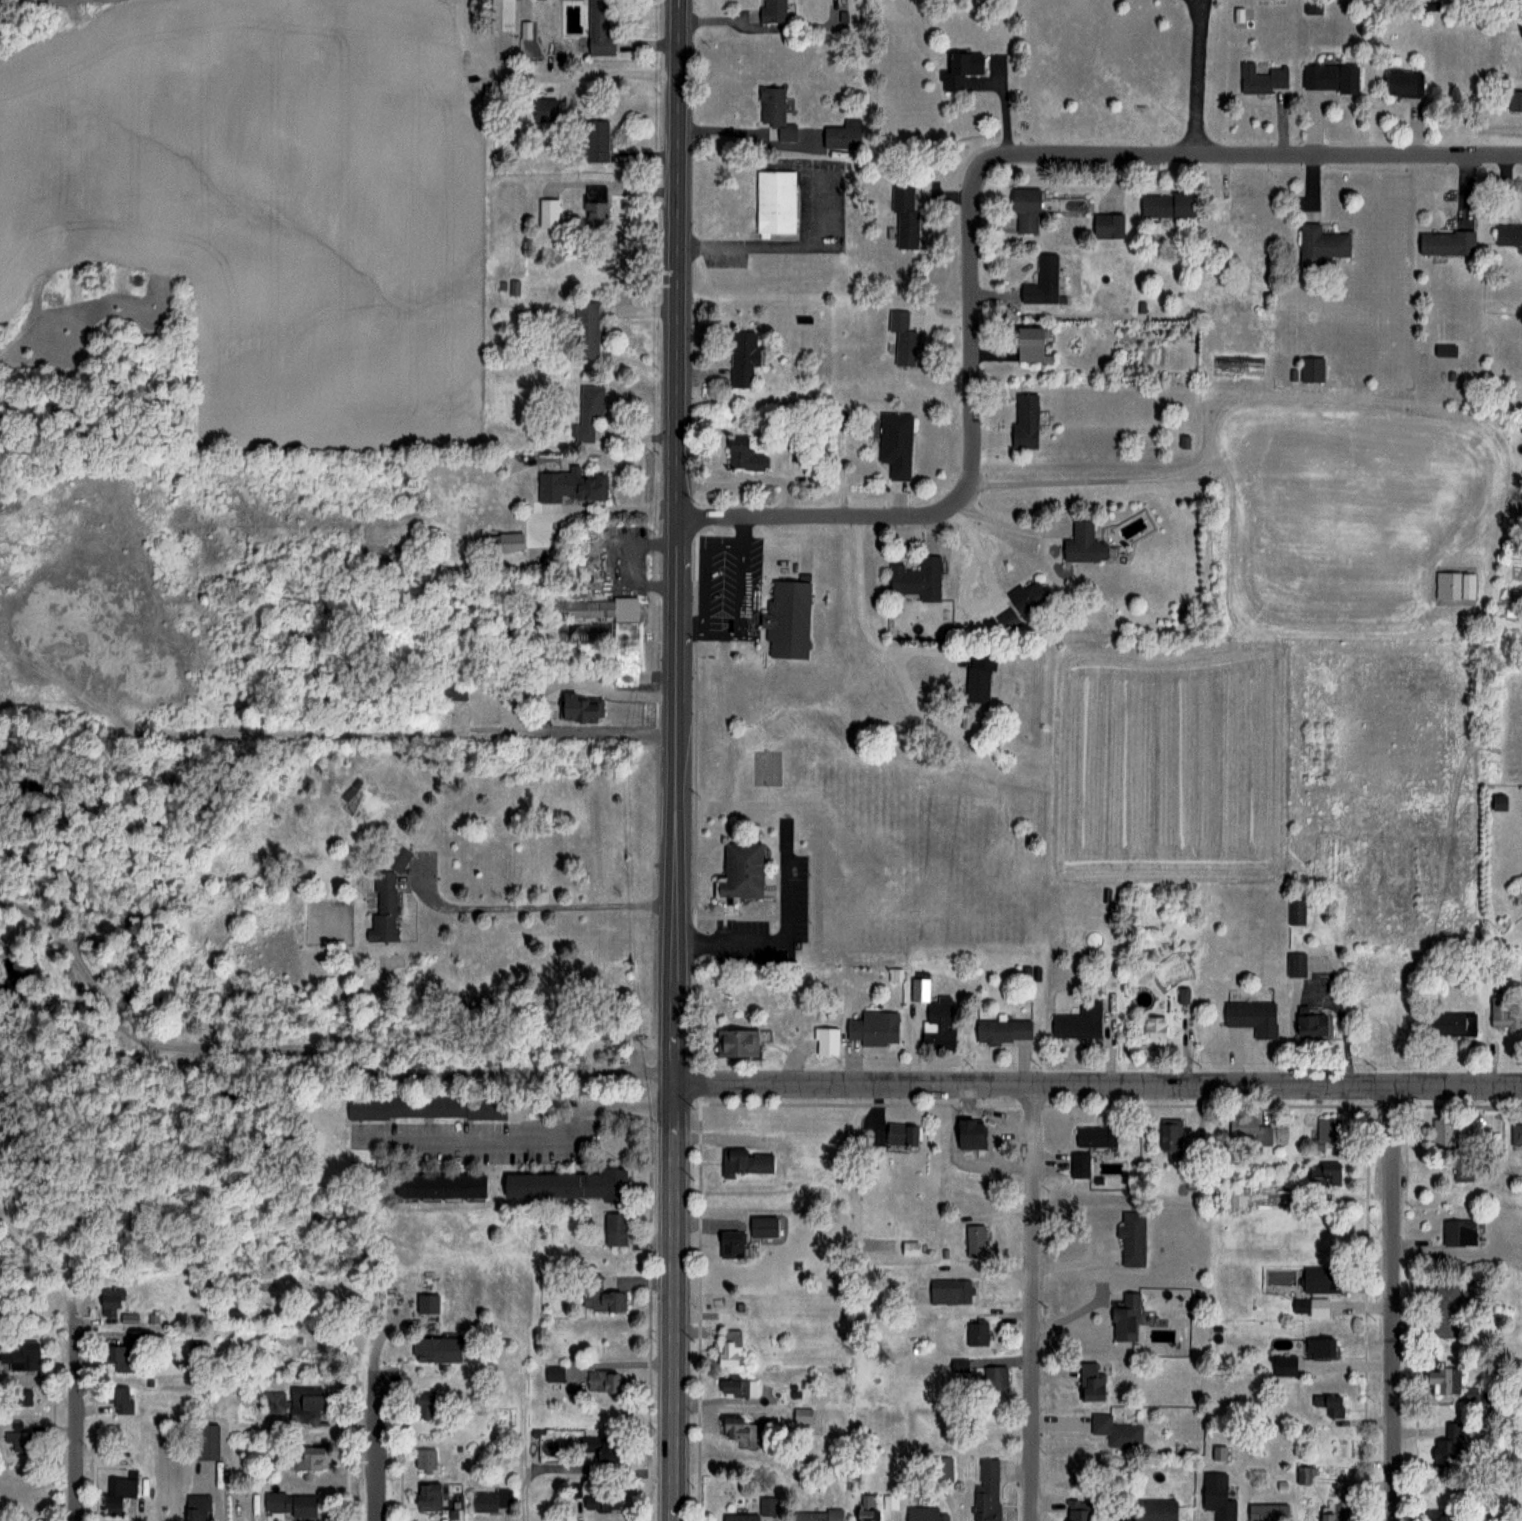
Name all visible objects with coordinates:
building: (1309, 7)
building: (773, 11)
building: (500, 15)
building: (598, 27)
building: (960, 69)
road: (1195, 76)
building: (1328, 78)
building: (1262, 79)
building: (1399, 83)
building: (1514, 100)
building: (771, 104)
building: (542, 108)
building: (595, 141)
building: (775, 201)
road: (972, 205)
building: (1165, 205)
building: (1024, 209)
building: (548, 213)
building: (595, 214)
building: (904, 217)
building: (1107, 226)
building: (1508, 233)
building: (1445, 242)
building: (1319, 244)
building: (1041, 281)
building: (585, 330)
building: (902, 337)
building: (1027, 343)
building: (741, 358)
building: (1311, 368)
building: (588, 411)
building: (838, 419)
building: (1024, 420)
building: (894, 442)
building: (741, 454)
building: (575, 484)
road: (1010, 523)
building: (505, 541)
building: (1082, 543)
building: (916, 578)
road: (995, 593)
building: (784, 596)
building: (1027, 597)
road: (862, 611)
building: (593, 619)
building: (1006, 619)
building: (977, 675)
building: (452, 690)
building: (578, 707)
road: (677, 760)
building: (739, 870)
building: (386, 897)
road: (551, 905)
building: (1296, 912)
building: (1295, 964)
building: (1503, 1013)
building: (933, 1015)
building: (1250, 1016)
building: (1078, 1021)
building: (1451, 1022)
building: (1311, 1024)
building: (873, 1027)
building: (1001, 1031)
building: (1151, 1031)
building: (825, 1040)
building: (735, 1042)
road: (1099, 1086)
building: (424, 1107)
building: (1249, 1129)
building: (1442, 1129)
building: (900, 1133)
building: (1516, 1133)
building: (1168, 1135)
road: (537, 1136)
building: (1095, 1136)
building: (1325, 1136)
building: (746, 1161)
building: (1079, 1165)
building: (1324, 1174)
building: (561, 1185)
building: (437, 1186)
building: (761, 1225)
building: (614, 1228)
building: (1458, 1232)
building: (1131, 1238)
building: (974, 1240)
building: (730, 1244)
building: (1320, 1279)
building: (949, 1291)
building: (600, 1295)
road: (1393, 1302)
building: (107, 1303)
building: (426, 1303)
road: (1034, 1304)
building: (1309, 1306)
building: (1444, 1310)
building: (1126, 1318)
building: (977, 1333)
building: (728, 1347)
building: (1319, 1347)
building: (433, 1349)
building: (22, 1356)
building: (119, 1357)
building: (960, 1365)
building: (1283, 1365)
building: (994, 1378)
building: (1441, 1379)
building: (604, 1382)
building: (1090, 1382)
building: (736, 1386)
building: (24, 1398)
building: (119, 1398)
building: (296, 1405)
building: (422, 1406)
building: (1329, 1408)
building: (802, 1415)
road: (377, 1429)
building: (741, 1429)
building: (1115, 1432)
road: (76, 1433)
building: (17, 1440)
building: (203, 1442)
building: (1447, 1444)
building: (600, 1449)
building: (304, 1459)
building: (424, 1460)
building: (942, 1469)
building: (1304, 1475)
building: (986, 1491)
building: (117, 1493)
building: (426, 1497)
building: (1216, 1497)
building: (599, 1498)
building: (490, 1500)
building: (292, 1505)
building: (767, 1505)
building: (196, 1507)
building: (1076, 1510)
building: (1152, 1510)
building: (1267, 1512)
building: (866, 1513)
building: (924, 1514)
building: (816, 1515)
building: (1328, 1515)
building: (1436, 1515)
building: (0, 1517)
building: (739, 1517)

